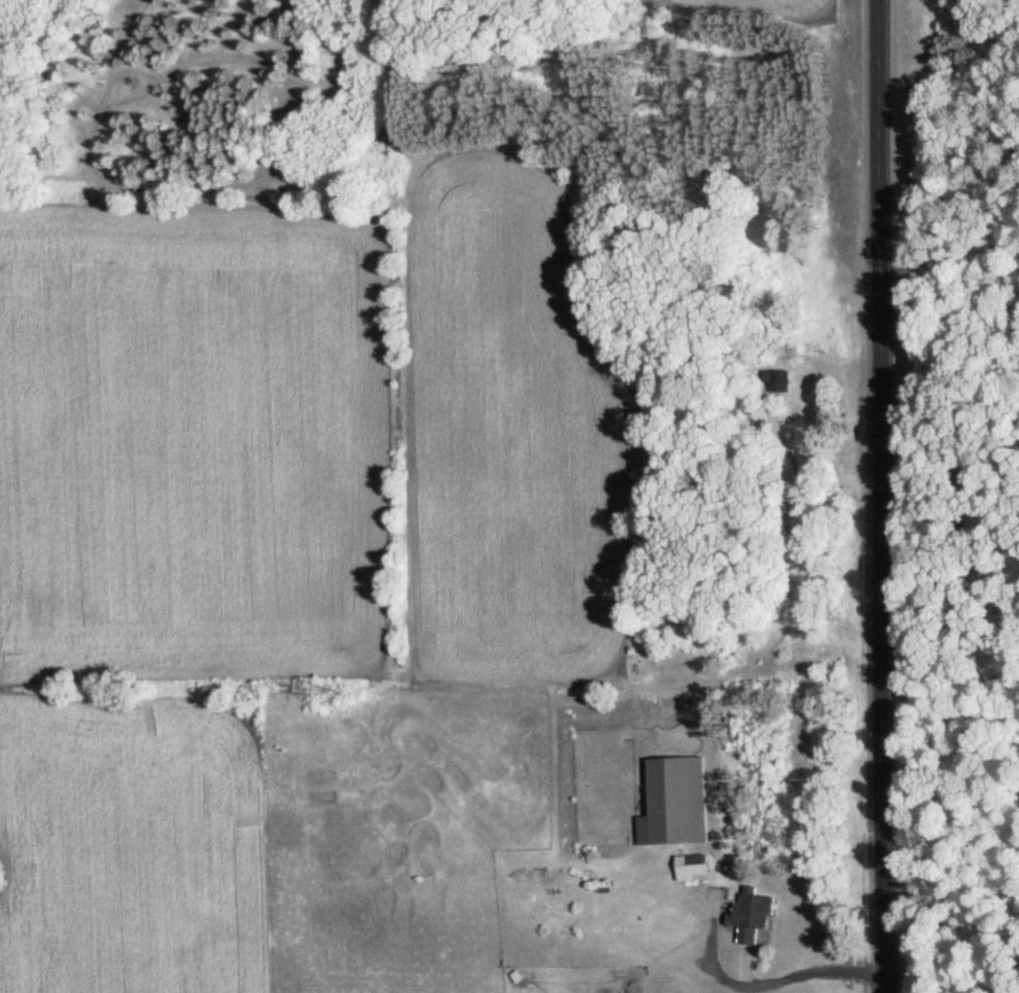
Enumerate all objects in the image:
building: (783, 381)
road: (882, 496)
building: (676, 803)
building: (696, 866)
building: (755, 915)

